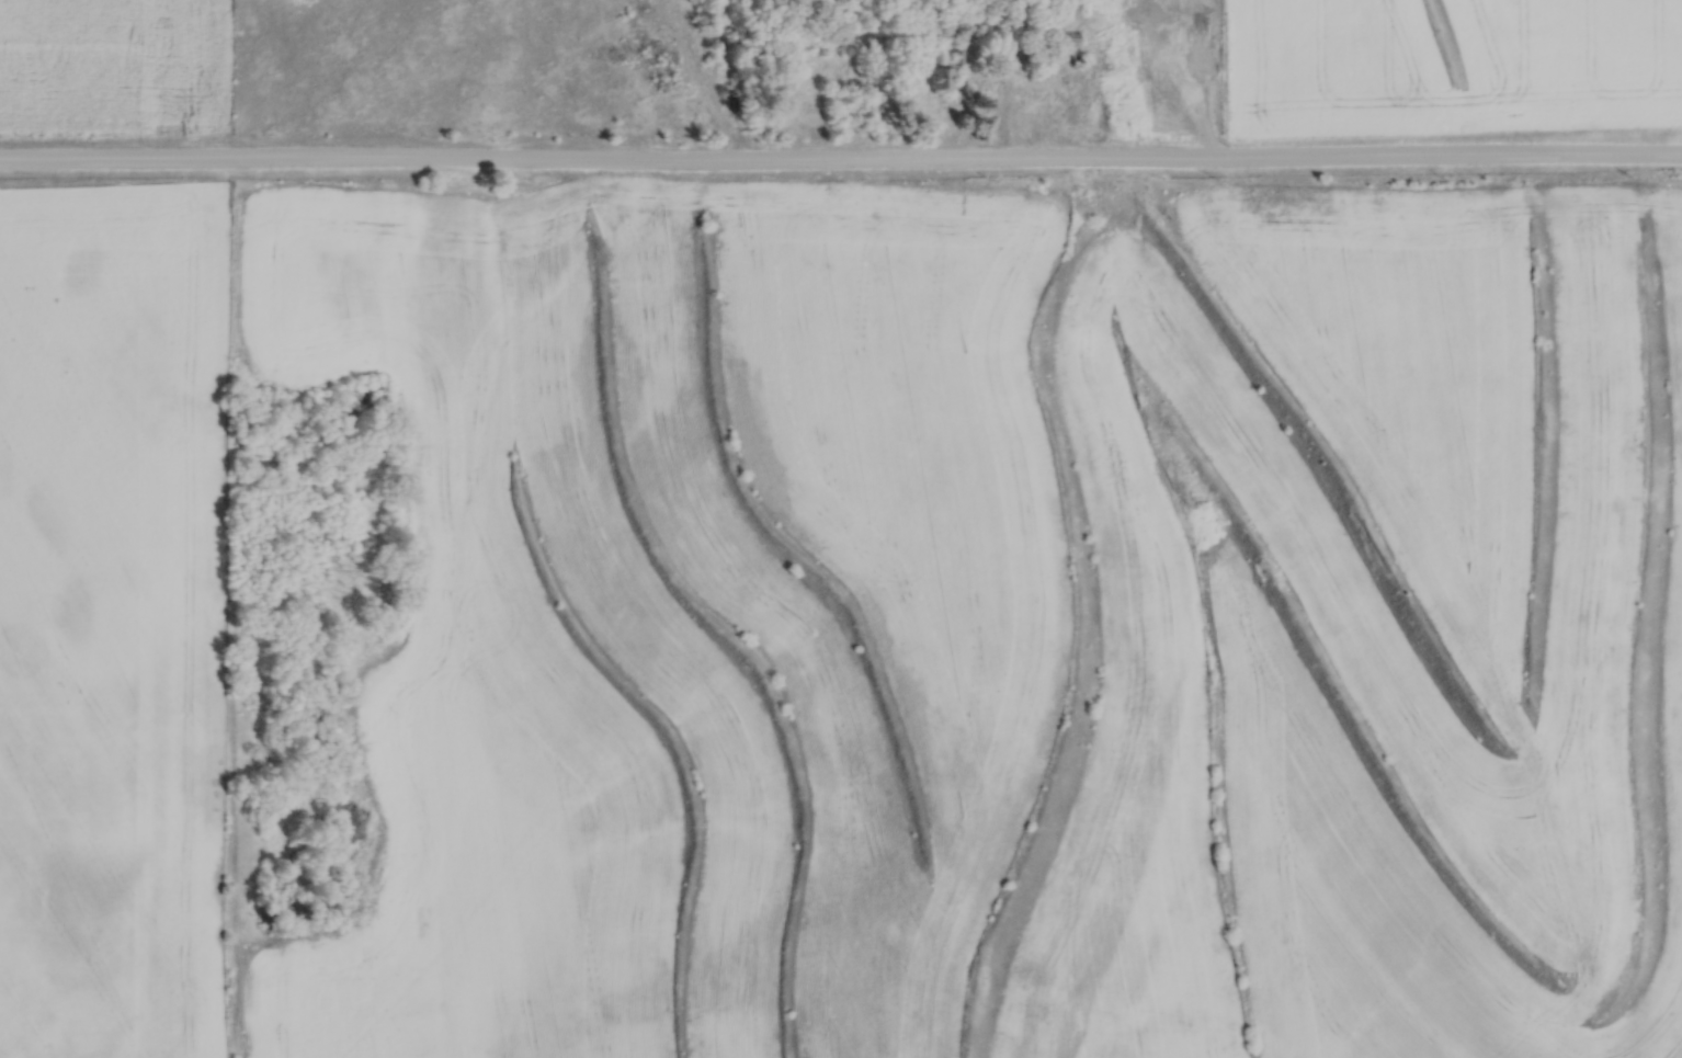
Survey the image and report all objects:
building: (1076, 36)
building: (946, 80)
road: (840, 166)

